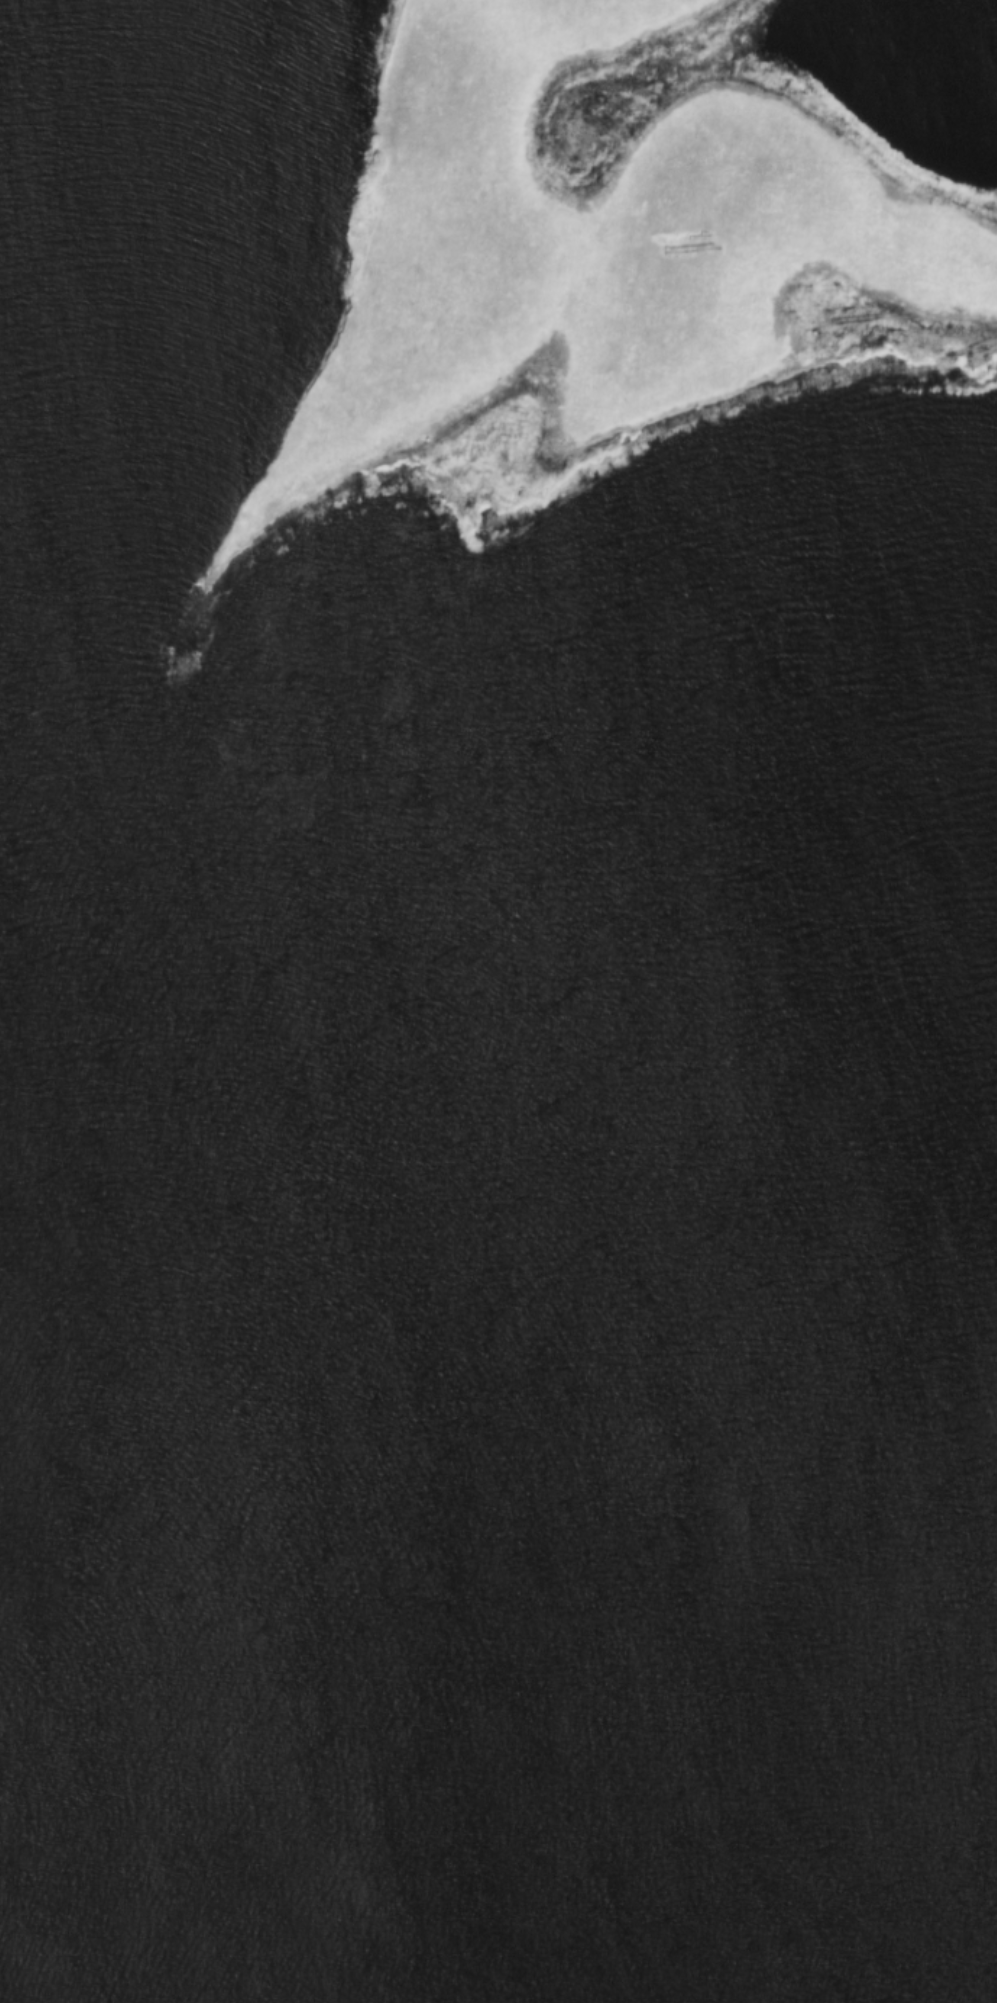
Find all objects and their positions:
road: (696, 264)
road: (617, 389)

